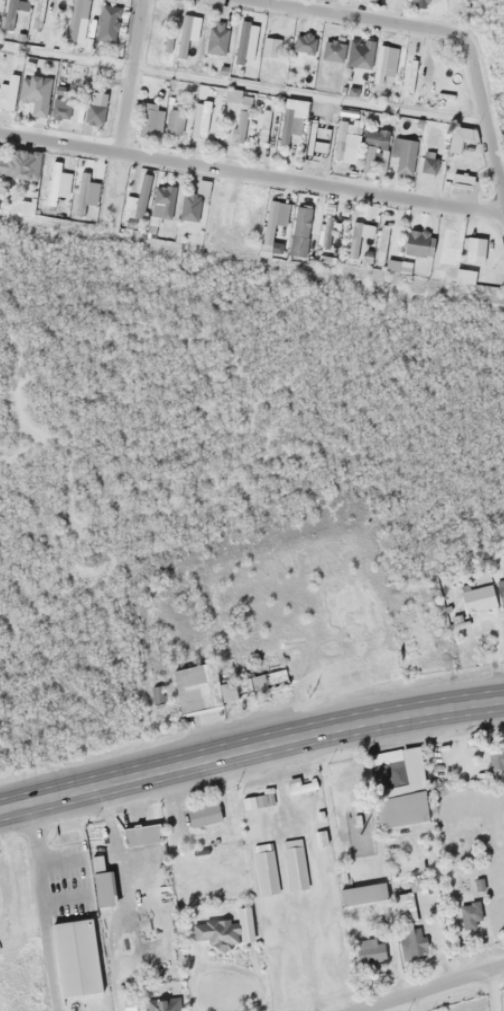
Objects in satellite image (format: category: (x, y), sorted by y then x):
building: (418, 2)
building: (11, 14)
road: (363, 16)
building: (107, 23)
building: (184, 36)
building: (216, 38)
building: (167, 41)
building: (241, 42)
building: (270, 47)
building: (298, 50)
building: (332, 52)
building: (363, 54)
building: (411, 72)
road: (129, 76)
building: (7, 91)
building: (35, 94)
building: (95, 108)
building: (63, 109)
building: (238, 111)
road: (483, 115)
building: (200, 118)
building: (292, 119)
building: (149, 122)
building: (174, 122)
building: (264, 125)
building: (459, 138)
building: (373, 147)
building: (403, 154)
road: (251, 174)
building: (461, 180)
building: (53, 183)
building: (141, 195)
building: (162, 201)
building: (189, 206)
building: (224, 213)
building: (272, 226)
building: (304, 231)
building: (358, 236)
building: (417, 243)
building: (448, 246)
building: (470, 253)
building: (501, 592)
building: (477, 597)
road: (251, 749)
building: (301, 787)
building: (395, 807)
building: (203, 814)
building: (141, 834)
building: (174, 864)
building: (295, 868)
building: (265, 871)
building: (102, 888)
building: (362, 894)
building: (402, 901)
road: (37, 907)
building: (469, 915)
building: (244, 923)
building: (215, 932)
building: (369, 950)
building: (70, 952)
road: (428, 988)
road: (492, 990)
building: (159, 999)

